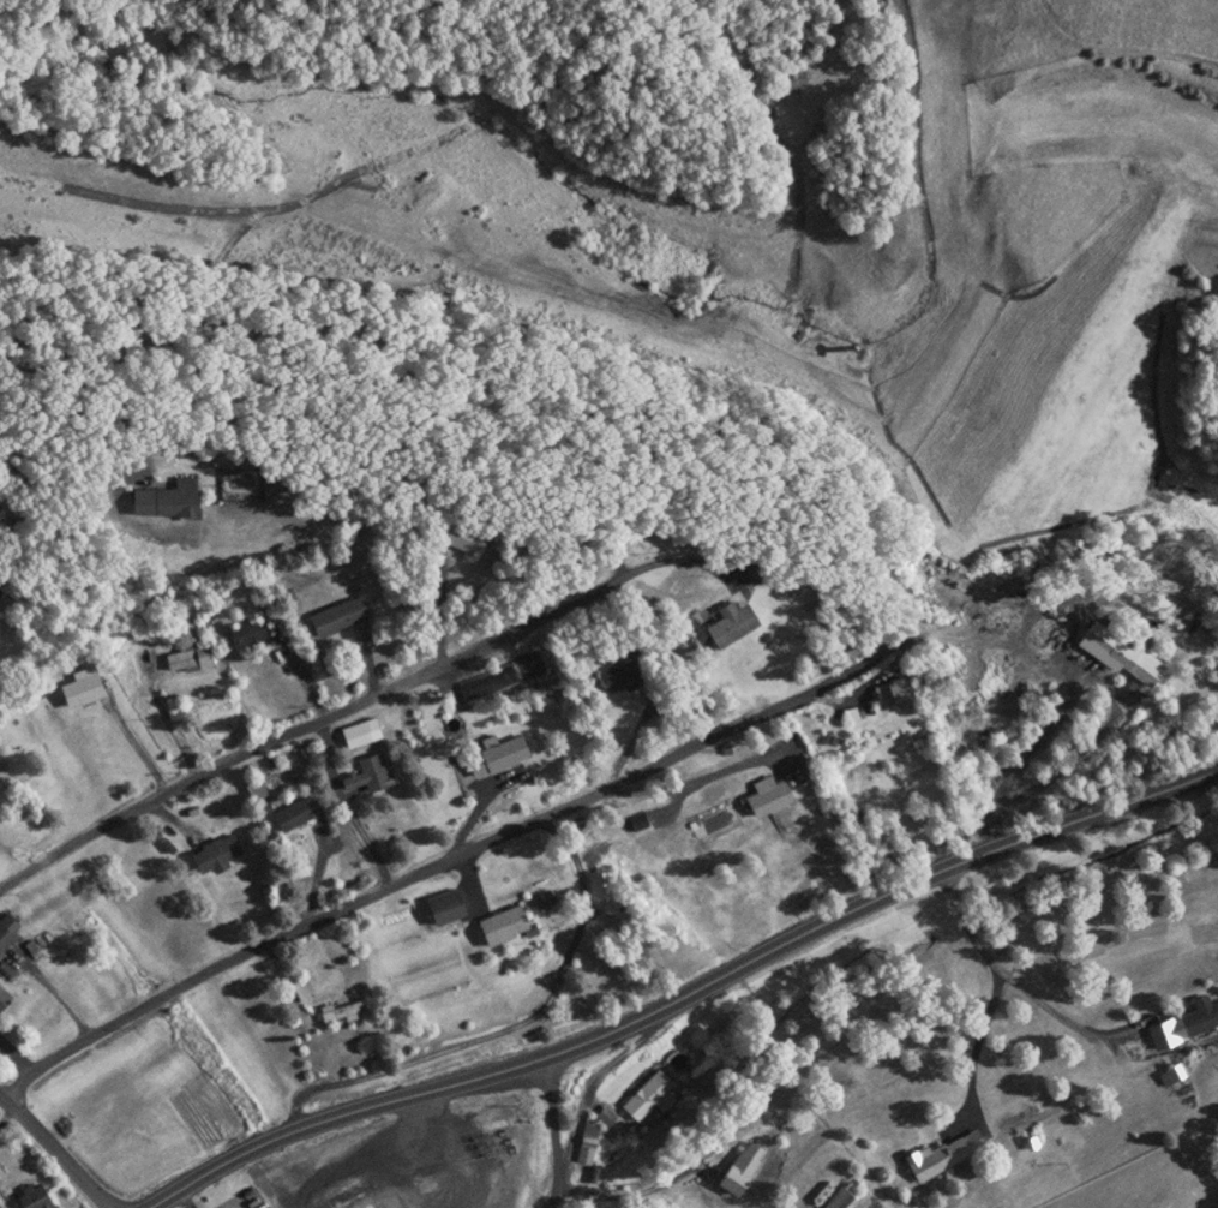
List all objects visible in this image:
building: (157, 500)
building: (452, 538)
building: (332, 616)
building: (726, 624)
building: (245, 632)
building: (1046, 636)
road: (1036, 652)
building: (1114, 652)
building: (186, 658)
building: (616, 676)
building: (487, 682)
building: (78, 688)
building: (874, 696)
road: (358, 704)
building: (353, 735)
building: (492, 755)
building: (365, 775)
building: (763, 799)
building: (288, 815)
building: (212, 854)
road: (446, 857)
building: (596, 884)
building: (440, 907)
building: (497, 926)
building: (13, 941)
building: (0, 995)
road: (686, 995)
building: (338, 1012)
building: (1198, 1015)
building: (646, 1098)
road: (554, 1131)
road: (59, 1146)
building: (943, 1153)
building: (738, 1167)
building: (28, 1196)
building: (839, 1200)

